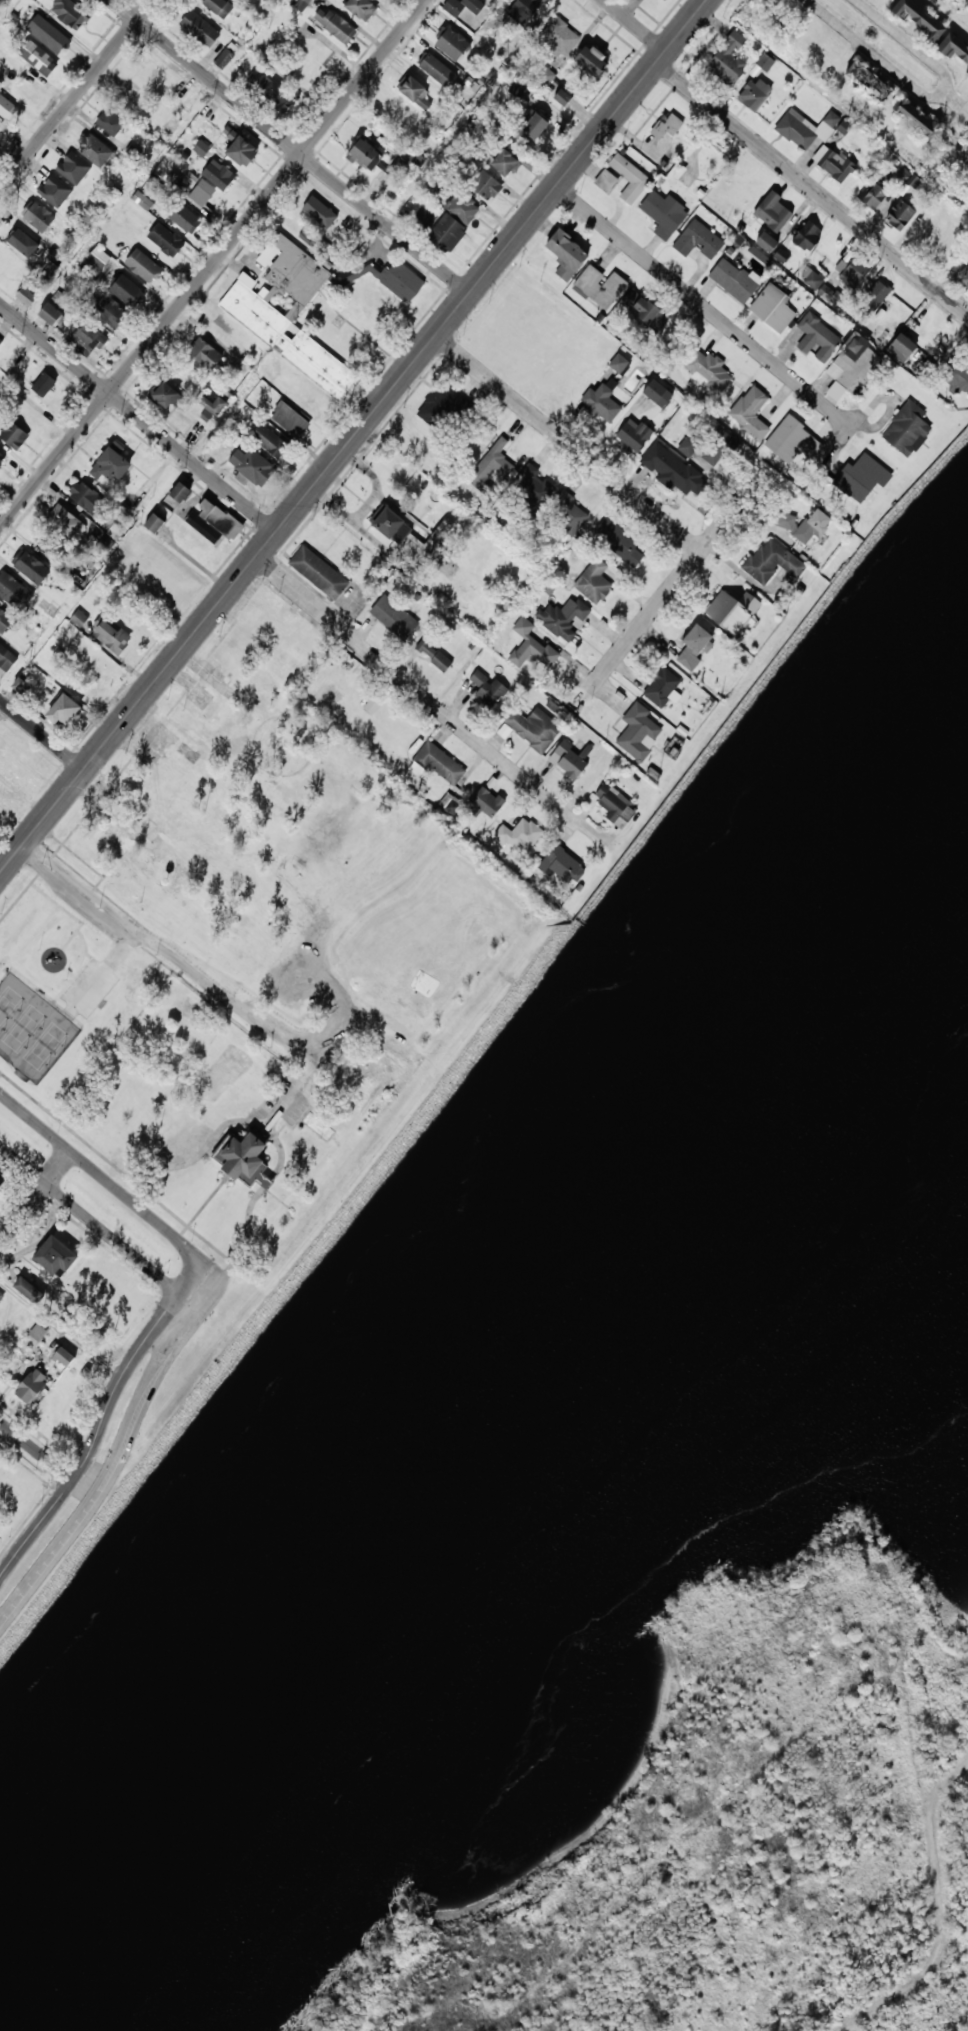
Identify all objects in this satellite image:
building: (36, 0)
building: (663, 0)
building: (300, 4)
building: (463, 6)
building: (221, 7)
building: (363, 7)
building: (522, 10)
building: (70, 12)
building: (336, 24)
road: (635, 25)
building: (201, 28)
building: (931, 32)
building: (49, 34)
building: (559, 35)
building: (454, 44)
road: (898, 54)
building: (38, 58)
building: (225, 58)
building: (593, 59)
building: (727, 61)
building: (765, 62)
building: (438, 70)
building: (966, 75)
building: (546, 76)
building: (154, 78)
building: (868, 82)
building: (272, 88)
building: (518, 88)
building: (417, 91)
road: (76, 94)
building: (753, 95)
building: (566, 98)
building: (7, 106)
building: (397, 113)
building: (914, 120)
building: (110, 122)
building: (537, 125)
building: (665, 127)
building: (1, 129)
building: (476, 129)
building: (795, 131)
building: (231, 132)
road: (291, 146)
building: (201, 147)
building: (95, 149)
building: (245, 151)
building: (366, 154)
building: (409, 155)
building: (507, 161)
building: (73, 167)
building: (836, 167)
building: (219, 174)
building: (907, 177)
building: (628, 178)
building: (605, 180)
building: (487, 184)
road: (812, 189)
building: (55, 191)
building: (203, 193)
building: (871, 196)
building: (142, 200)
building: (464, 207)
building: (772, 211)
building: (325, 214)
building: (662, 214)
building: (898, 216)
building: (41, 217)
building: (184, 218)
building: (448, 232)
building: (806, 236)
building: (166, 239)
building: (25, 240)
building: (697, 241)
building: (764, 243)
building: (564, 255)
building: (100, 257)
building: (5, 261)
road: (213, 264)
building: (144, 265)
building: (852, 273)
building: (967, 276)
building: (402, 281)
building: (732, 281)
building: (599, 287)
building: (128, 291)
building: (28, 296)
building: (873, 298)
road: (699, 303)
building: (109, 310)
building: (772, 310)
building: (643, 312)
building: (51, 313)
building: (290, 315)
building: (89, 335)
building: (817, 339)
building: (1, 340)
building: (895, 346)
building: (853, 347)
building: (206, 354)
building: (619, 363)
building: (707, 371)
building: (955, 378)
building: (44, 383)
building: (834, 392)
building: (658, 393)
building: (165, 395)
building: (308, 400)
building: (601, 404)
building: (216, 405)
building: (446, 406)
building: (749, 413)
building: (207, 416)
road: (138, 418)
building: (290, 418)
building: (905, 430)
building: (14, 433)
building: (633, 436)
road: (353, 437)
building: (271, 441)
building: (792, 441)
road: (568, 444)
building: (688, 444)
building: (716, 448)
building: (2, 456)
building: (113, 464)
building: (254, 466)
building: (491, 467)
building: (669, 469)
building: (861, 478)
building: (534, 486)
building: (182, 492)
building: (89, 498)
building: (566, 510)
building: (65, 519)
building: (220, 519)
building: (785, 519)
building: (154, 523)
building: (391, 524)
building: (812, 525)
building: (203, 527)
building: (441, 531)
building: (618, 541)
building: (771, 561)
building: (33, 568)
building: (317, 573)
building: (593, 581)
road: (672, 586)
building: (15, 592)
building: (731, 610)
building: (274, 613)
building: (393, 616)
building: (78, 618)
building: (562, 618)
building: (5, 621)
building: (112, 636)
building: (531, 645)
building: (694, 646)
building: (426, 647)
building: (7, 657)
building: (440, 660)
building: (96, 663)
building: (230, 663)
building: (21, 685)
building: (662, 688)
building: (487, 689)
road: (418, 692)
building: (373, 703)
building: (66, 711)
building: (533, 727)
building: (638, 731)
road: (42, 734)
building: (569, 759)
building: (440, 763)
building: (485, 802)
building: (614, 804)
building: (519, 834)
building: (561, 864)
road: (23, 891)
road: (69, 913)
park: (252, 942)
road: (105, 968)
road: (78, 969)
road: (68, 972)
parking lot: (89, 988)
road: (220, 994)
park: (8, 1004)
road: (52, 1004)
park: (22, 1028)
park: (44, 1046)
parking lot: (281, 1106)
road: (279, 1109)
road: (265, 1130)
building: (245, 1156)
building: (3, 1177)
road: (109, 1183)
road: (35, 1195)
road: (201, 1207)
road: (98, 1225)
road: (187, 1226)
building: (55, 1255)
building: (29, 1290)
building: (1, 1296)
road: (61, 1329)
building: (37, 1332)
building: (66, 1357)
building: (34, 1384)
road: (102, 1420)
road: (37, 1448)
road: (117, 1454)

